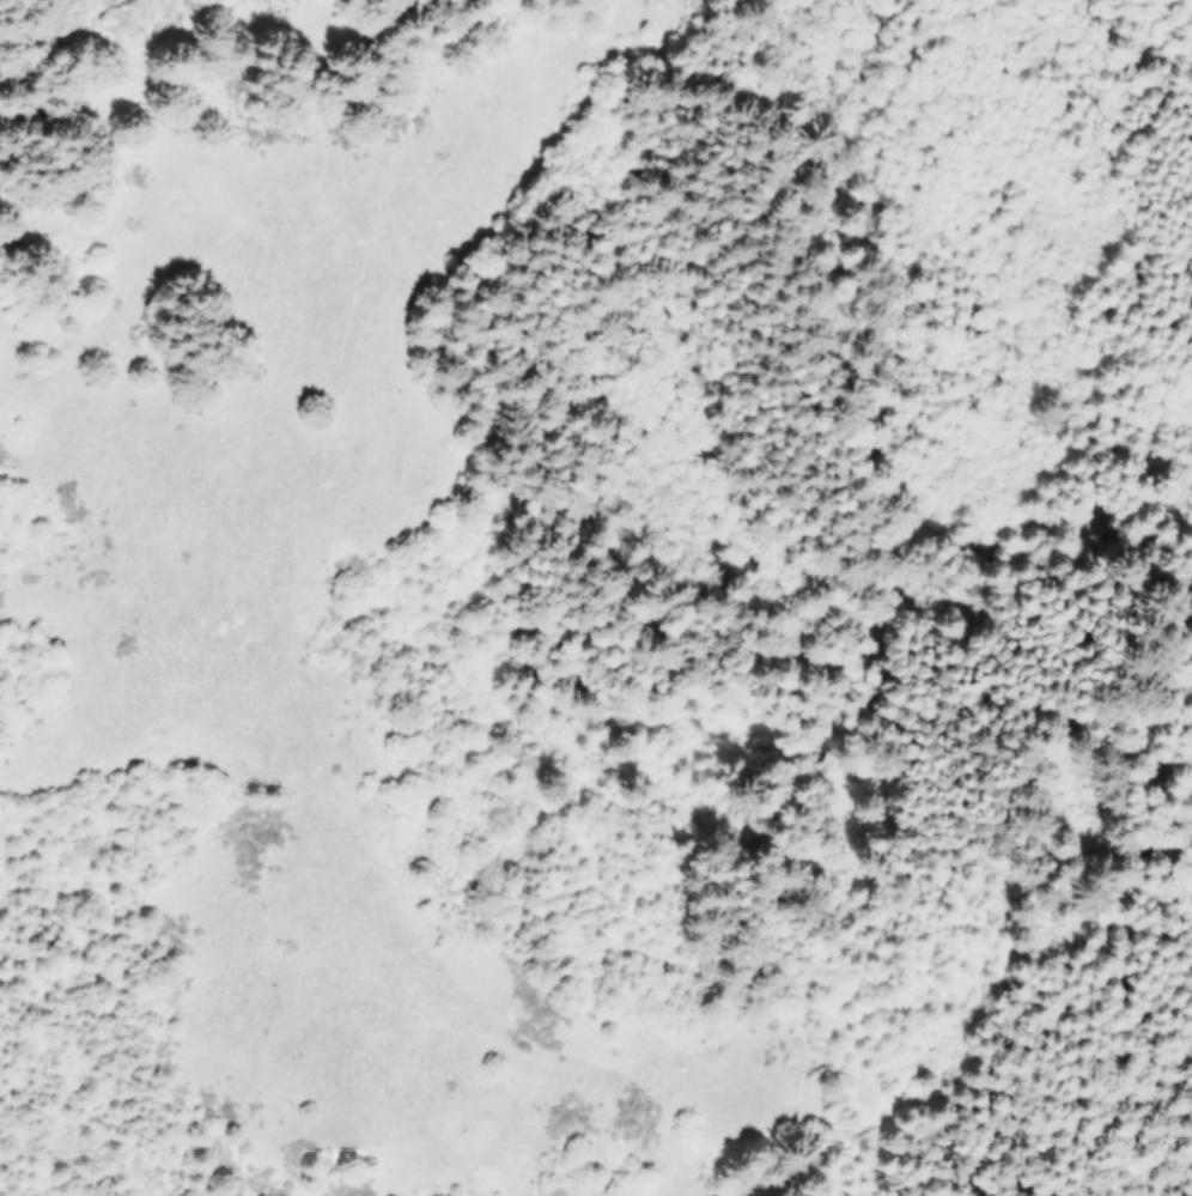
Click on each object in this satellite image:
road: (287, 615)
road: (741, 1097)
road: (890, 1143)

